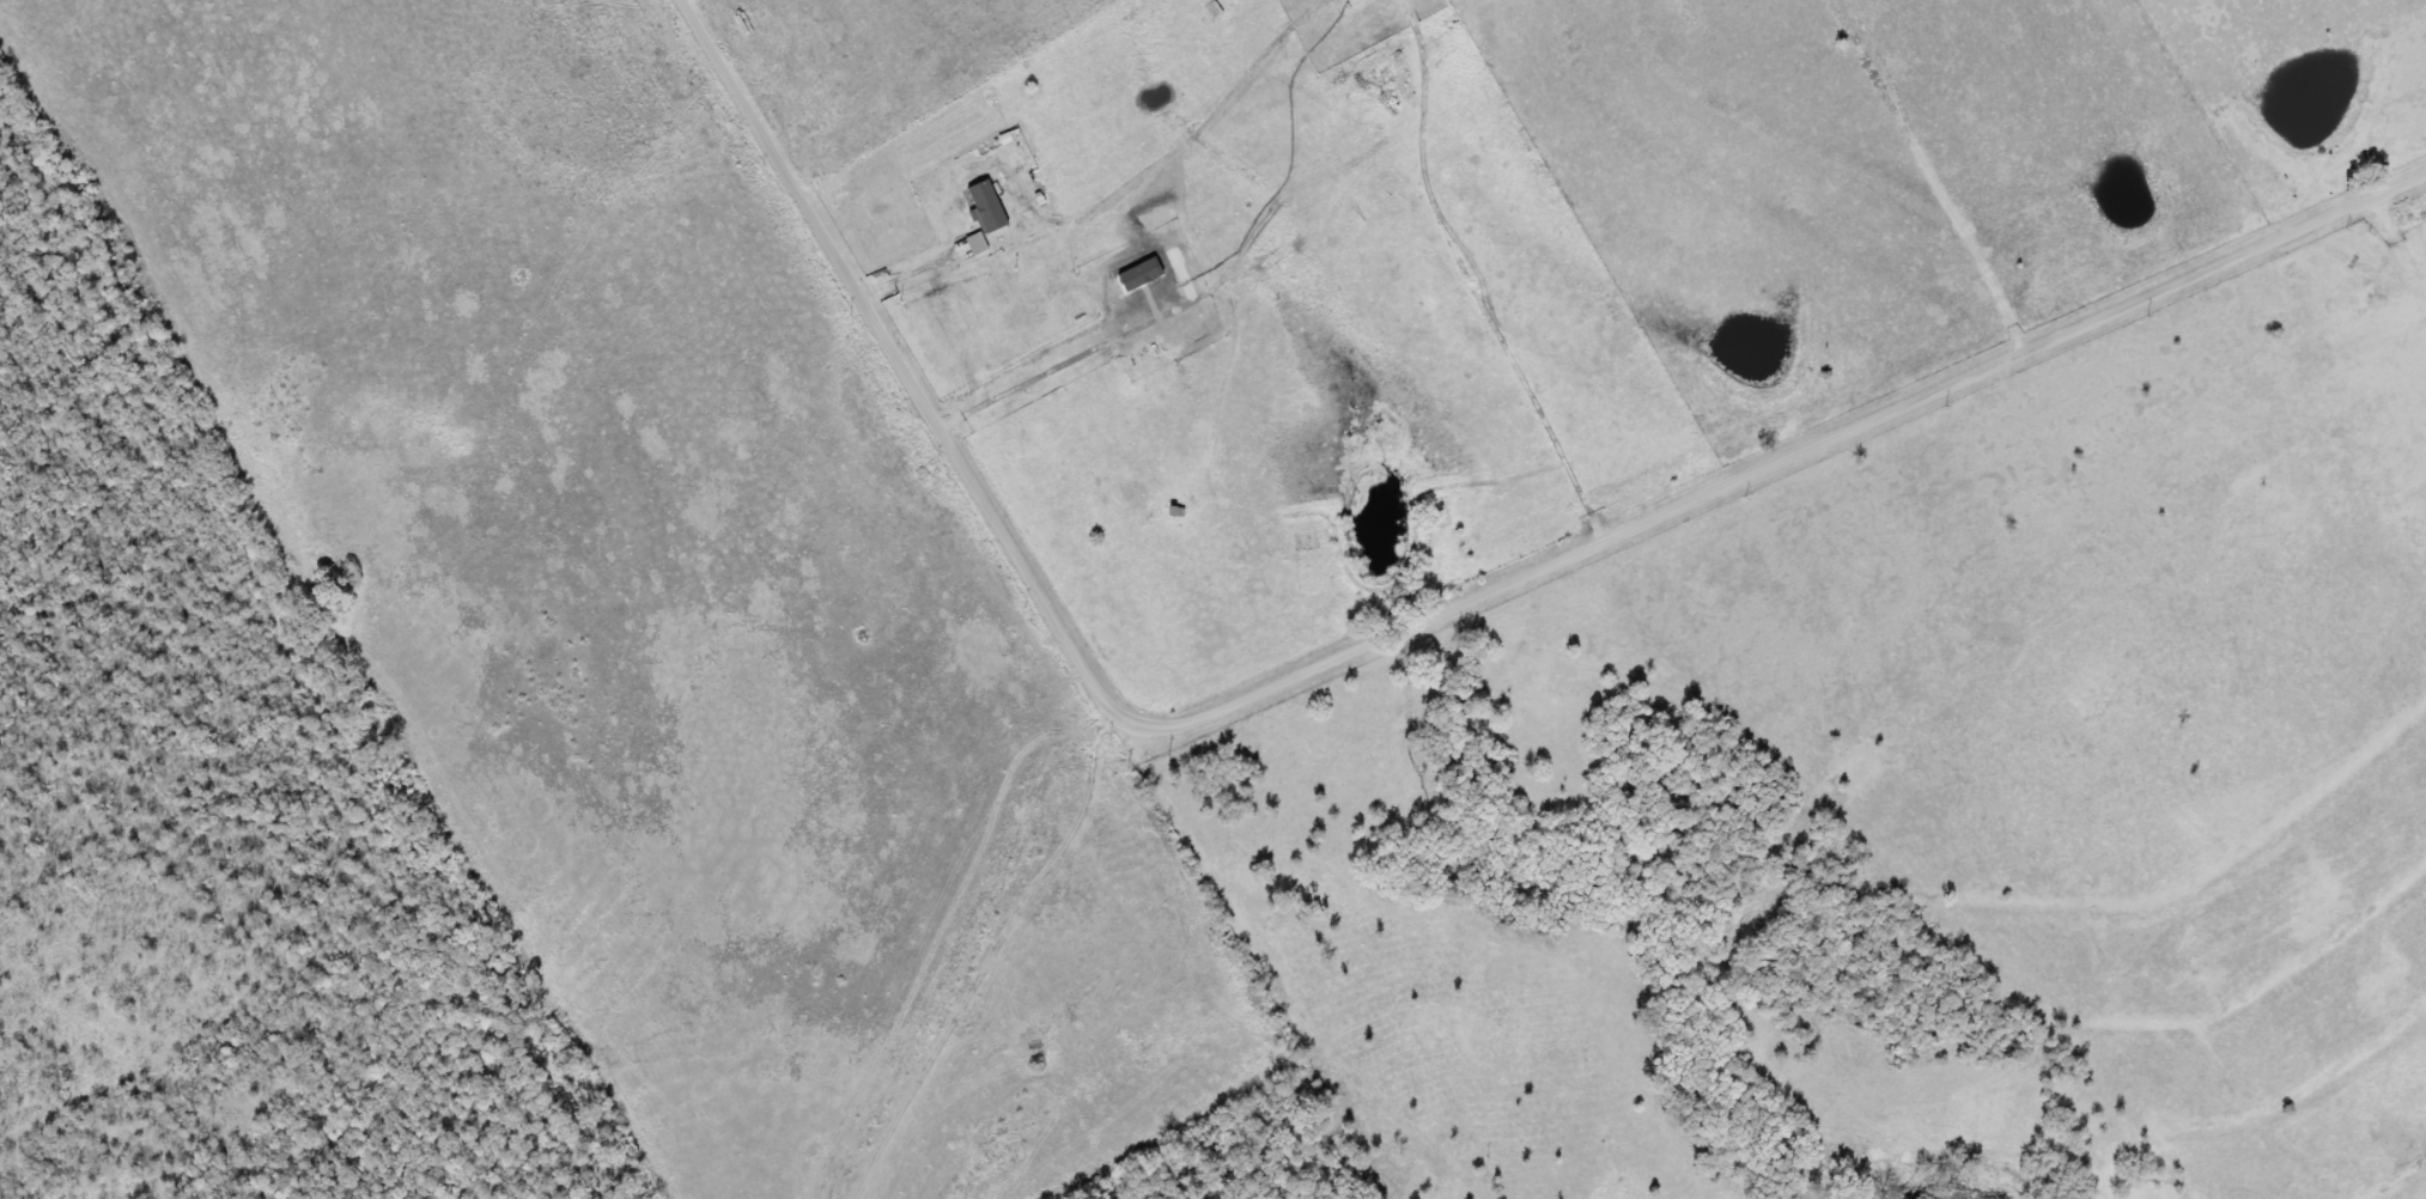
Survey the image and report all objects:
road: (1388, 633)

